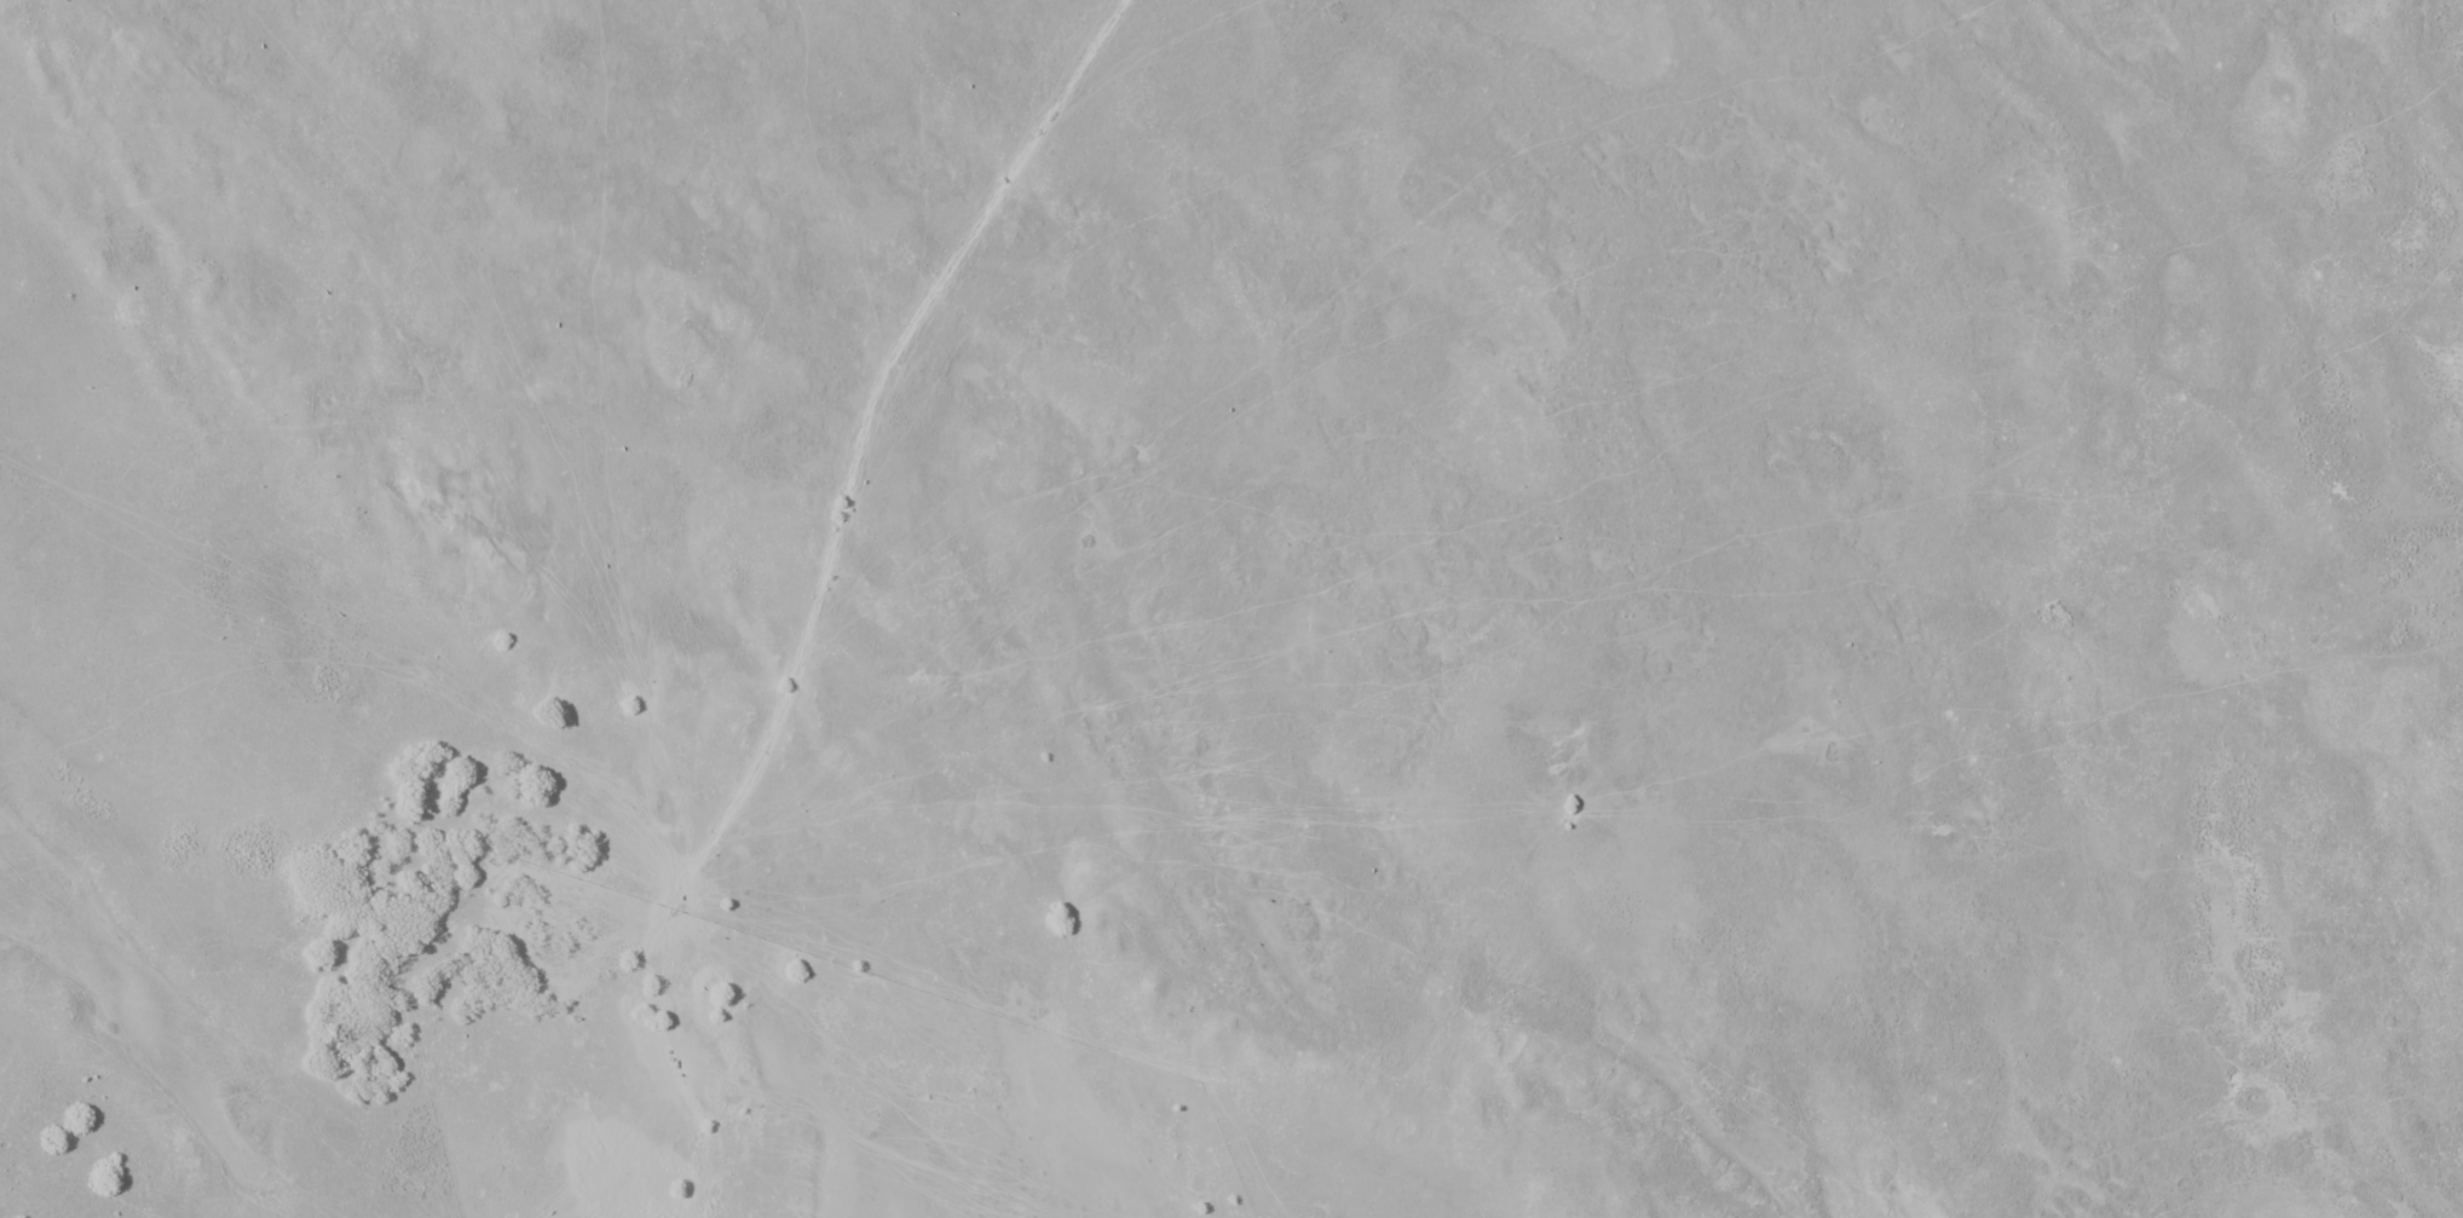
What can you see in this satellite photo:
road: (238, 434)

